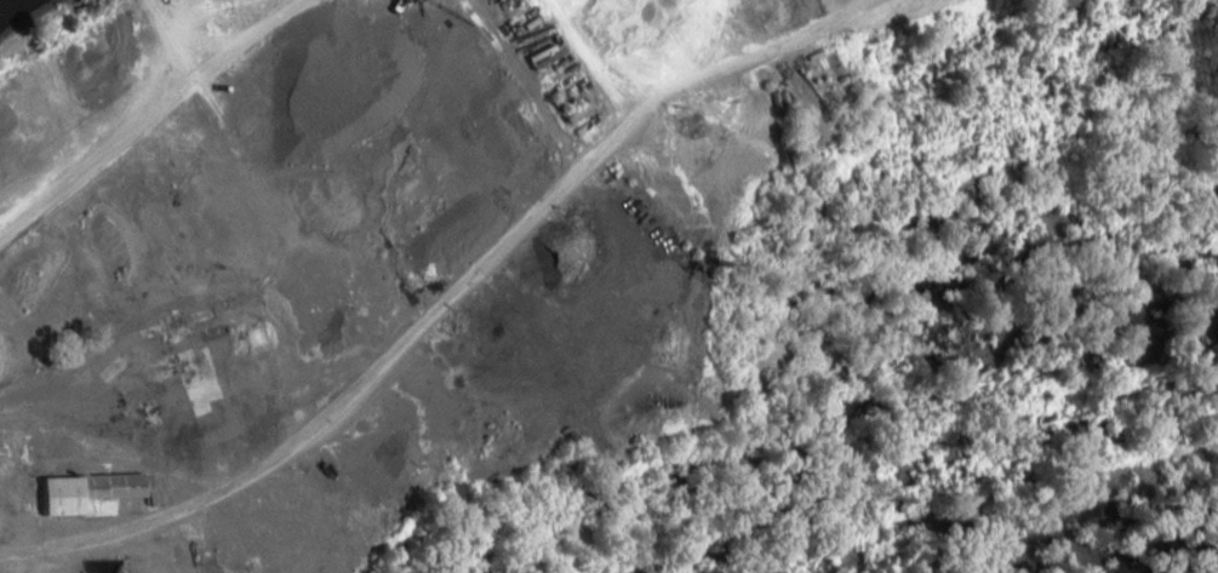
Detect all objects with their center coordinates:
road: (859, 2)
road: (651, 55)
road: (595, 58)
road: (141, 114)
road: (285, 164)
road: (200, 195)
road: (405, 253)
road: (436, 297)
road: (418, 332)
road: (119, 431)
building: (86, 493)

